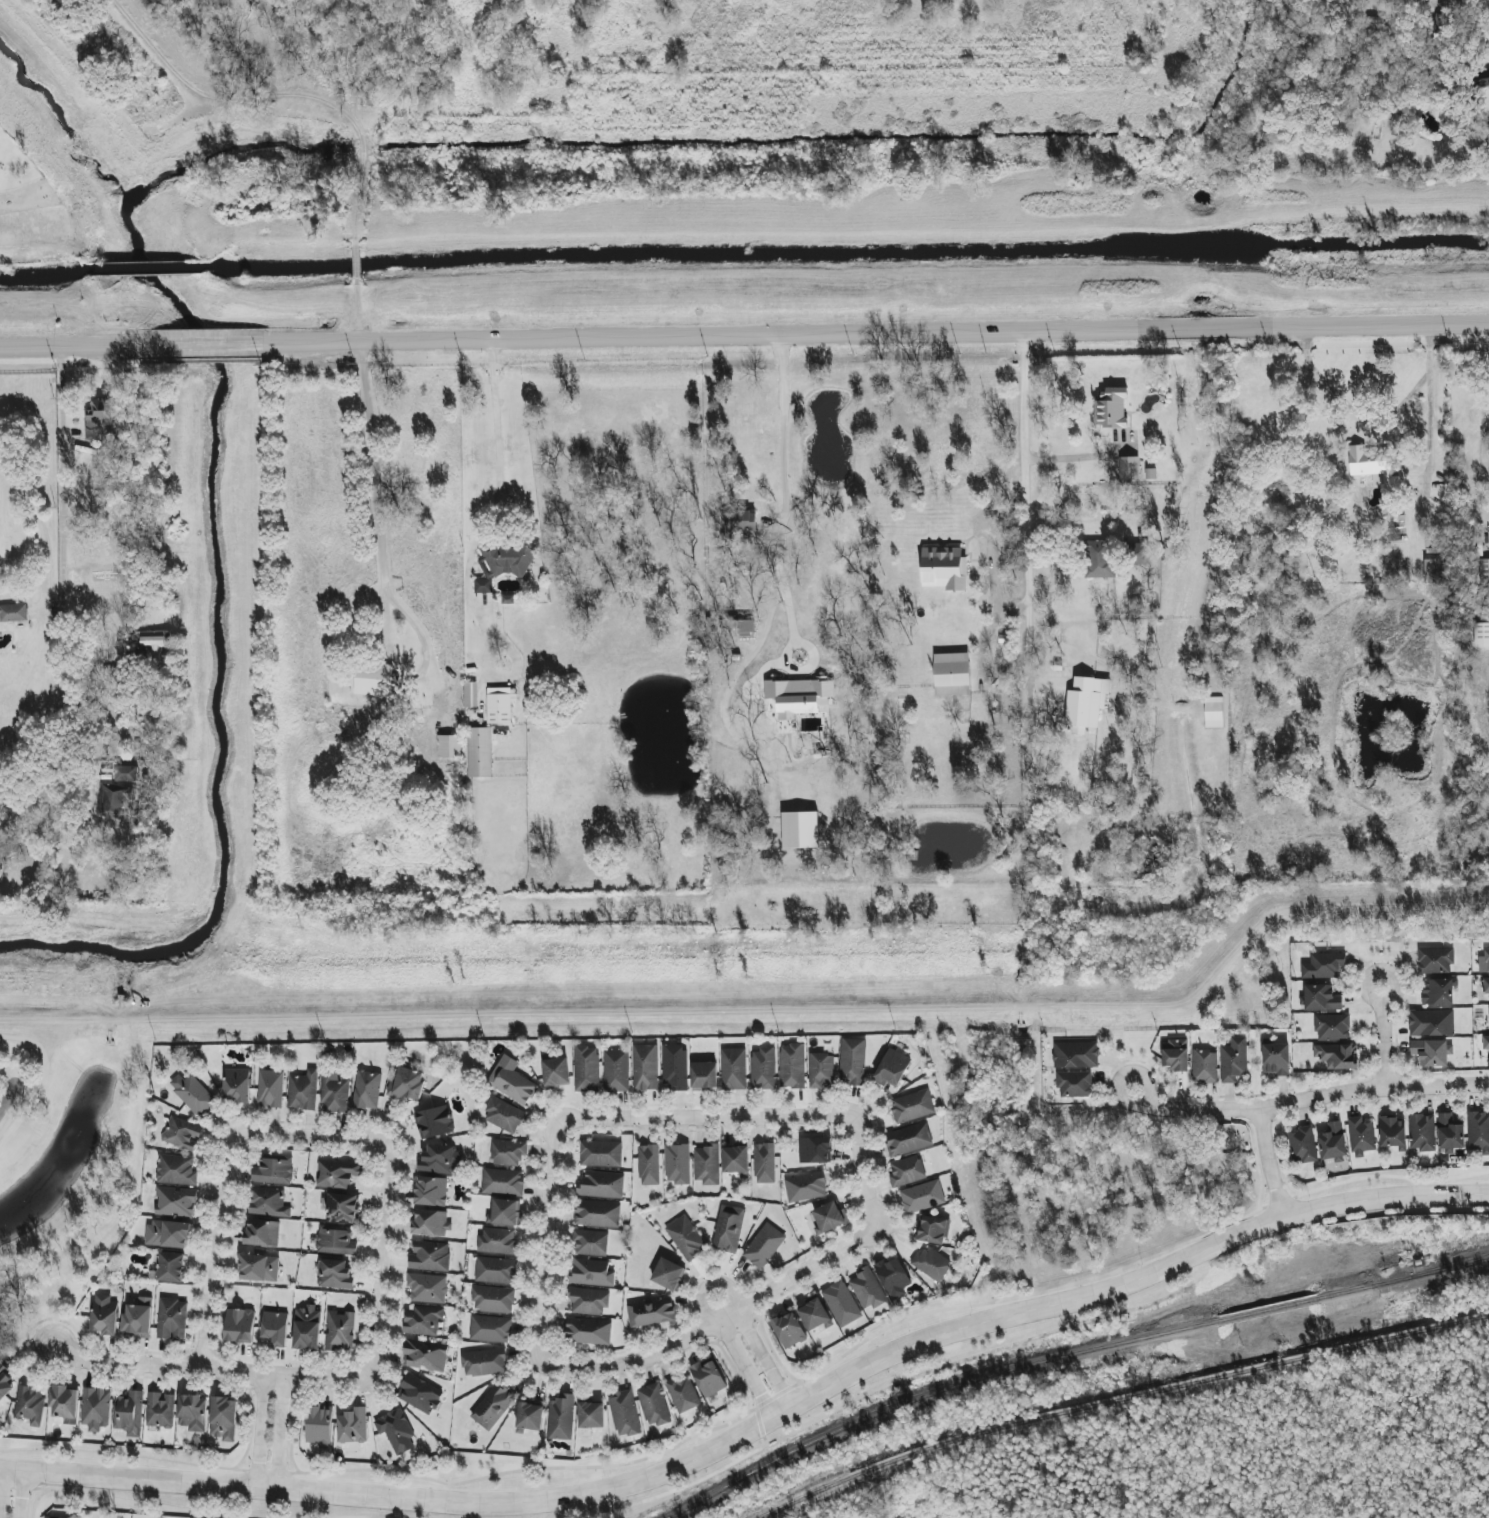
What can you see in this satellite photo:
building: (1457, 0)
building: (1483, 77)
road: (279, 93)
road: (362, 264)
road: (876, 333)
road: (210, 347)
road: (78, 348)
building: (1111, 408)
road: (1371, 417)
road: (1429, 432)
building: (403, 457)
road: (1072, 457)
building: (1373, 466)
building: (1129, 468)
road: (379, 490)
road: (37, 518)
road: (780, 518)
building: (739, 525)
building: (1138, 554)
road: (60, 555)
road: (1028, 557)
road: (993, 558)
building: (1098, 559)
building: (503, 565)
building: (944, 568)
building: (1484, 574)
building: (1436, 577)
building: (13, 613)
building: (740, 626)
road: (489, 628)
building: (1481, 635)
road: (370, 639)
building: (155, 643)
river: (212, 643)
road: (983, 658)
building: (952, 674)
building: (376, 680)
building: (470, 694)
building: (800, 696)
building: (1086, 703)
building: (500, 705)
building: (1214, 712)
road: (192, 731)
building: (449, 747)
building: (480, 752)
building: (127, 774)
building: (117, 801)
building: (801, 830)
building: (1, 876)
road: (1252, 949)
building: (1436, 961)
building: (1484, 962)
building: (1324, 966)
building: (1485, 986)
building: (1438, 992)
building: (1322, 998)
road: (512, 1008)
building: (1432, 1023)
building: (1333, 1027)
road: (1380, 1036)
building: (1432, 1052)
building: (1176, 1054)
building: (1076, 1055)
building: (1338, 1055)
building: (1234, 1060)
building: (1277, 1060)
building: (852, 1062)
building: (675, 1066)
building: (792, 1066)
building: (1205, 1066)
building: (645, 1067)
building: (587, 1069)
building: (733, 1069)
building: (763, 1069)
building: (892, 1069)
building: (821, 1070)
building: (616, 1071)
building: (556, 1073)
building: (704, 1075)
road: (41, 1076)
building: (512, 1081)
building: (407, 1084)
building: (1074, 1084)
building: (237, 1085)
building: (270, 1088)
building: (367, 1090)
building: (303, 1091)
building: (335, 1092)
building: (192, 1094)
road: (1307, 1099)
road: (6, 1101)
building: (912, 1106)
building: (505, 1116)
road: (703, 1117)
building: (434, 1122)
building: (1479, 1131)
building: (1422, 1132)
building: (1393, 1133)
building: (183, 1134)
building: (1450, 1134)
road: (309, 1135)
building: (1362, 1136)
building: (909, 1139)
building: (1333, 1143)
building: (1303, 1144)
building: (815, 1150)
building: (508, 1152)
building: (601, 1153)
building: (441, 1160)
building: (736, 1160)
road: (1265, 1162)
building: (765, 1163)
building: (677, 1164)
building: (649, 1165)
building: (707, 1165)
building: (176, 1170)
building: (273, 1171)
building: (907, 1171)
building: (338, 1173)
road: (859, 1174)
building: (503, 1182)
building: (602, 1185)
building: (806, 1187)
building: (431, 1191)
building: (923, 1197)
building: (176, 1202)
building: (268, 1202)
building: (343, 1207)
building: (505, 1212)
building: (597, 1214)
building: (829, 1217)
building: (431, 1223)
building: (729, 1229)
building: (934, 1230)
building: (262, 1233)
building: (168, 1234)
road: (543, 1235)
building: (686, 1238)
building: (336, 1241)
building: (497, 1241)
building: (591, 1242)
building: (764, 1246)
building: (430, 1256)
building: (932, 1263)
building: (171, 1267)
railway: (1442, 1267)
building: (259, 1268)
building: (496, 1270)
railway: (1442, 1270)
building: (591, 1272)
building: (335, 1274)
building: (669, 1274)
building: (894, 1278)
road: (708, 1284)
building: (427, 1288)
building: (867, 1288)
building: (493, 1299)
building: (589, 1301)
building: (842, 1304)
building: (651, 1312)
building: (104, 1315)
building: (815, 1315)
building: (138, 1319)
building: (172, 1319)
building: (422, 1320)
road: (707, 1323)
building: (240, 1326)
building: (276, 1328)
building: (307, 1328)
building: (491, 1329)
building: (789, 1330)
building: (340, 1331)
building: (588, 1331)
building: (425, 1355)
building: (484, 1362)
railway: (1023, 1366)
road: (206, 1368)
building: (708, 1378)
building: (5, 1381)
building: (420, 1394)
building: (682, 1394)
railway: (1119, 1398)
building: (30, 1404)
building: (65, 1404)
building: (654, 1405)
building: (493, 1407)
building: (96, 1408)
building: (160, 1410)
building: (193, 1413)
building: (129, 1414)
building: (625, 1414)
building: (591, 1415)
building: (530, 1416)
building: (561, 1417)
building: (224, 1419)
road: (756, 1420)
building: (320, 1425)
building: (353, 1426)
road: (258, 1428)
road: (279, 1430)
building: (396, 1431)
road: (1, 1487)
road: (24, 1494)
building: (51, 1517)

